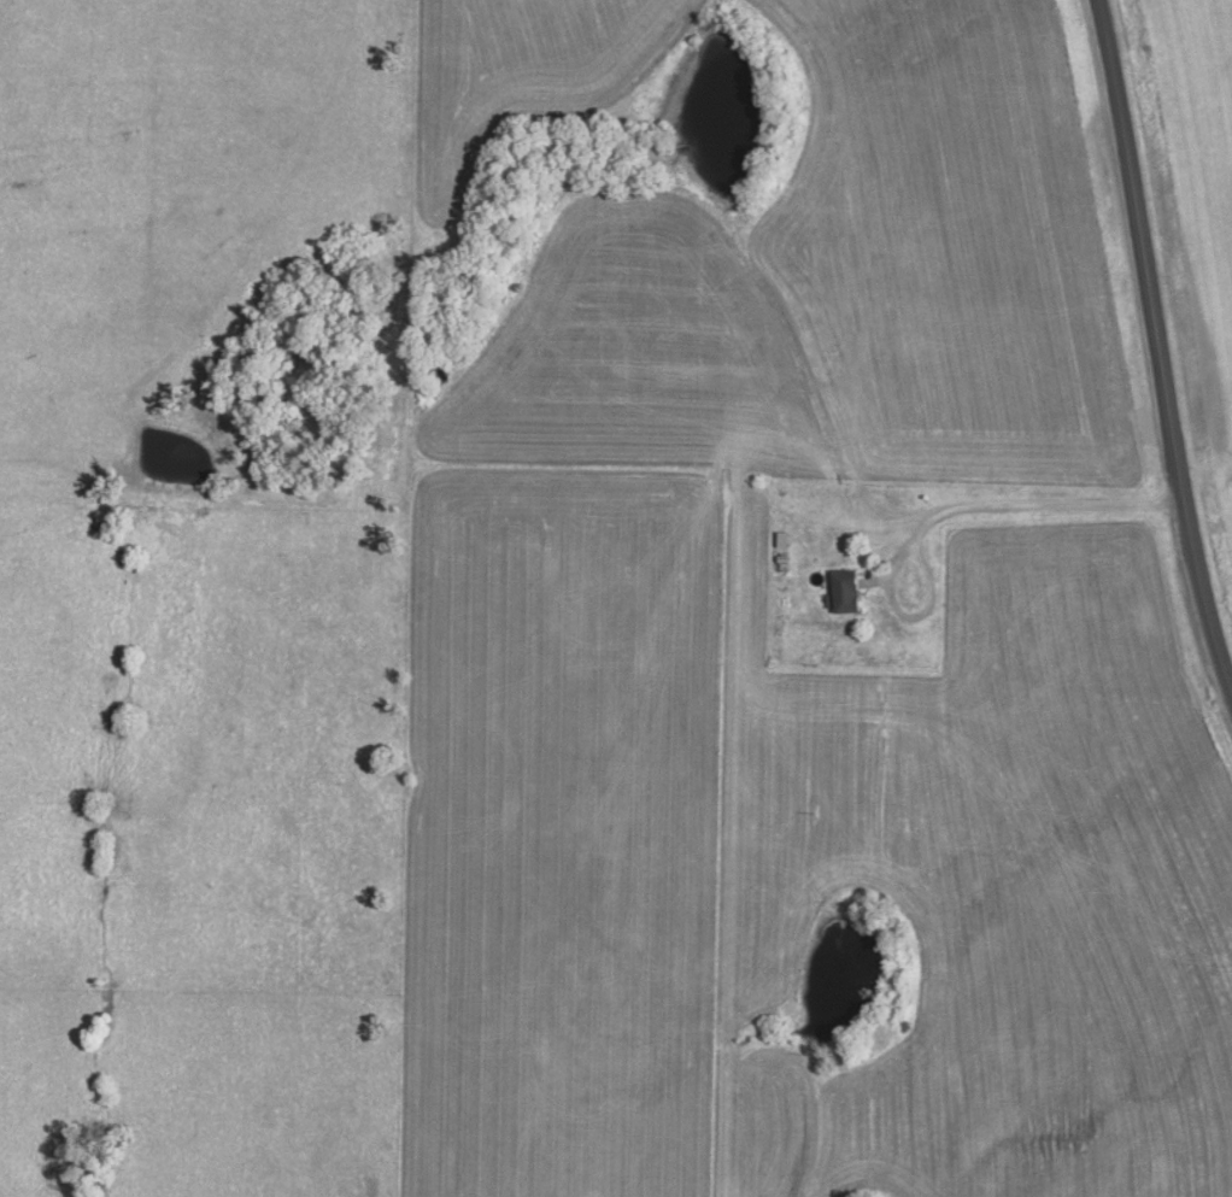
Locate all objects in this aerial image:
road: (1156, 346)
road: (1039, 507)
road: (885, 589)
building: (850, 591)

